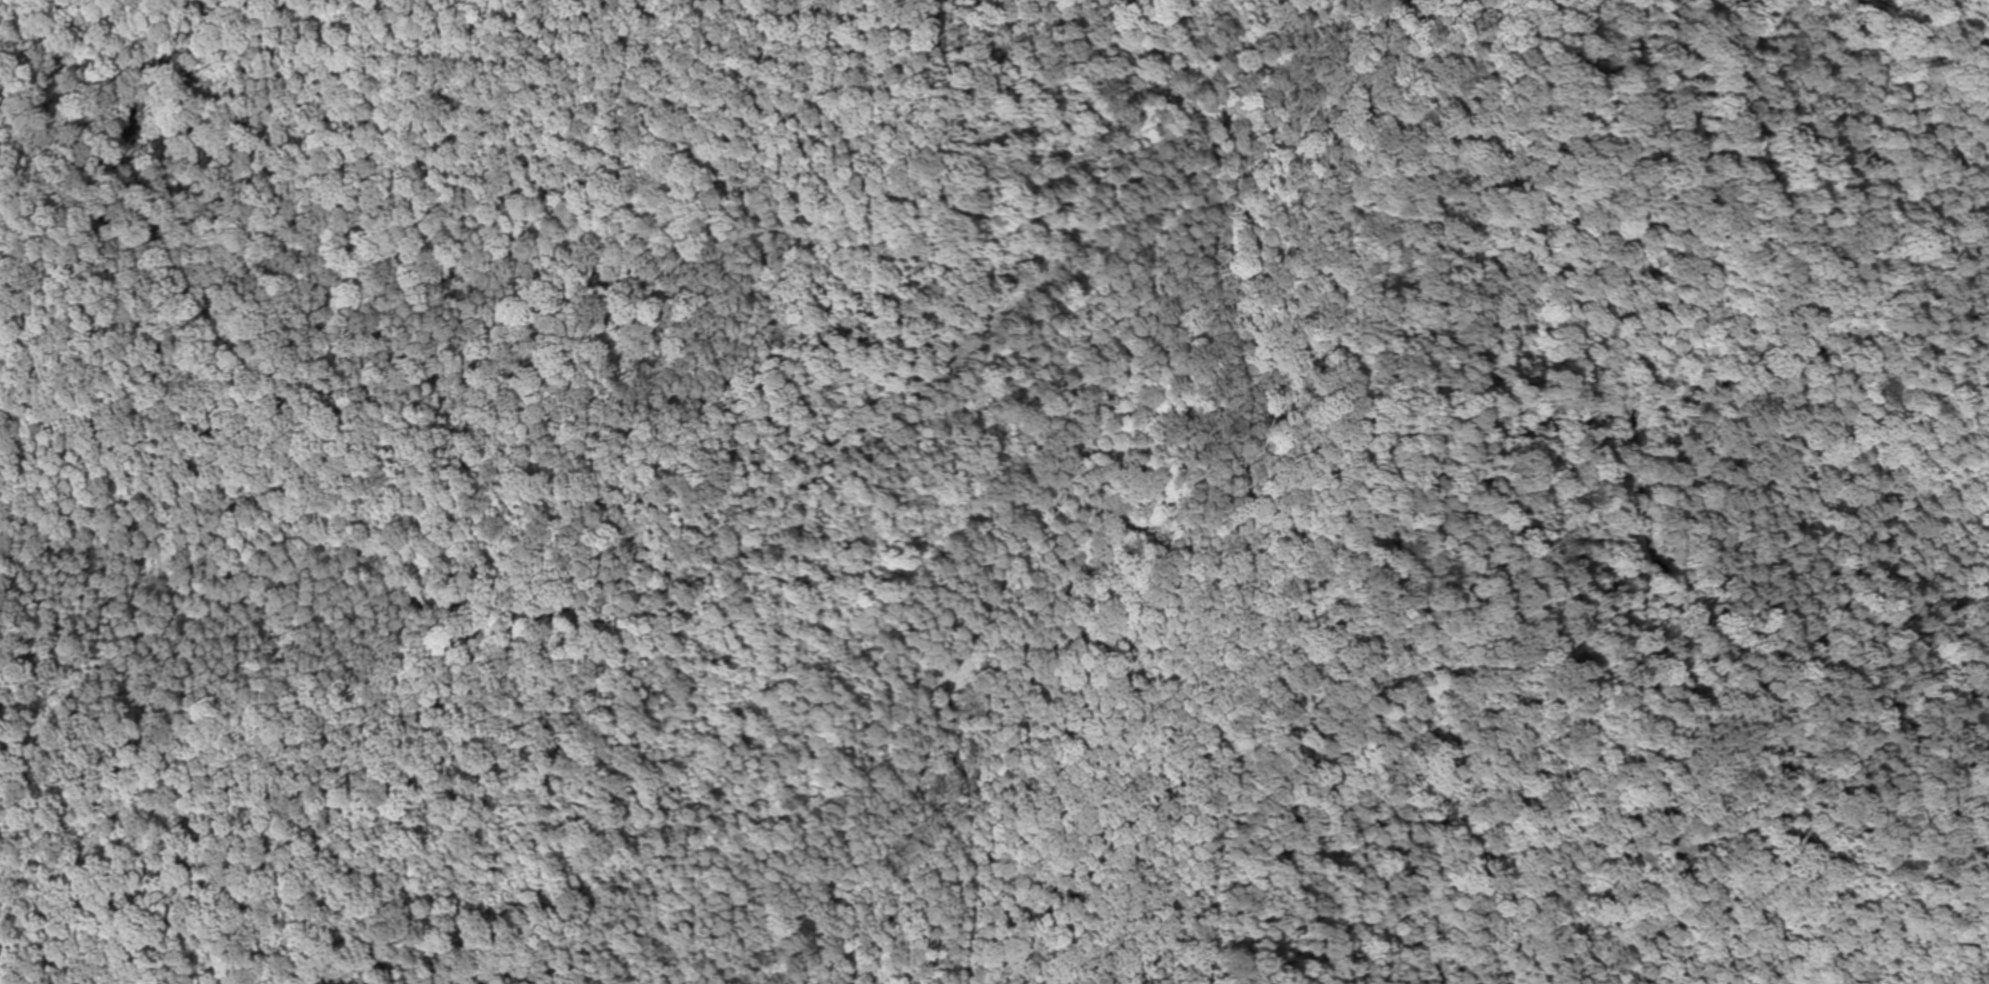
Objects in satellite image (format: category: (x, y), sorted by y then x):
road: (1652, 566)

